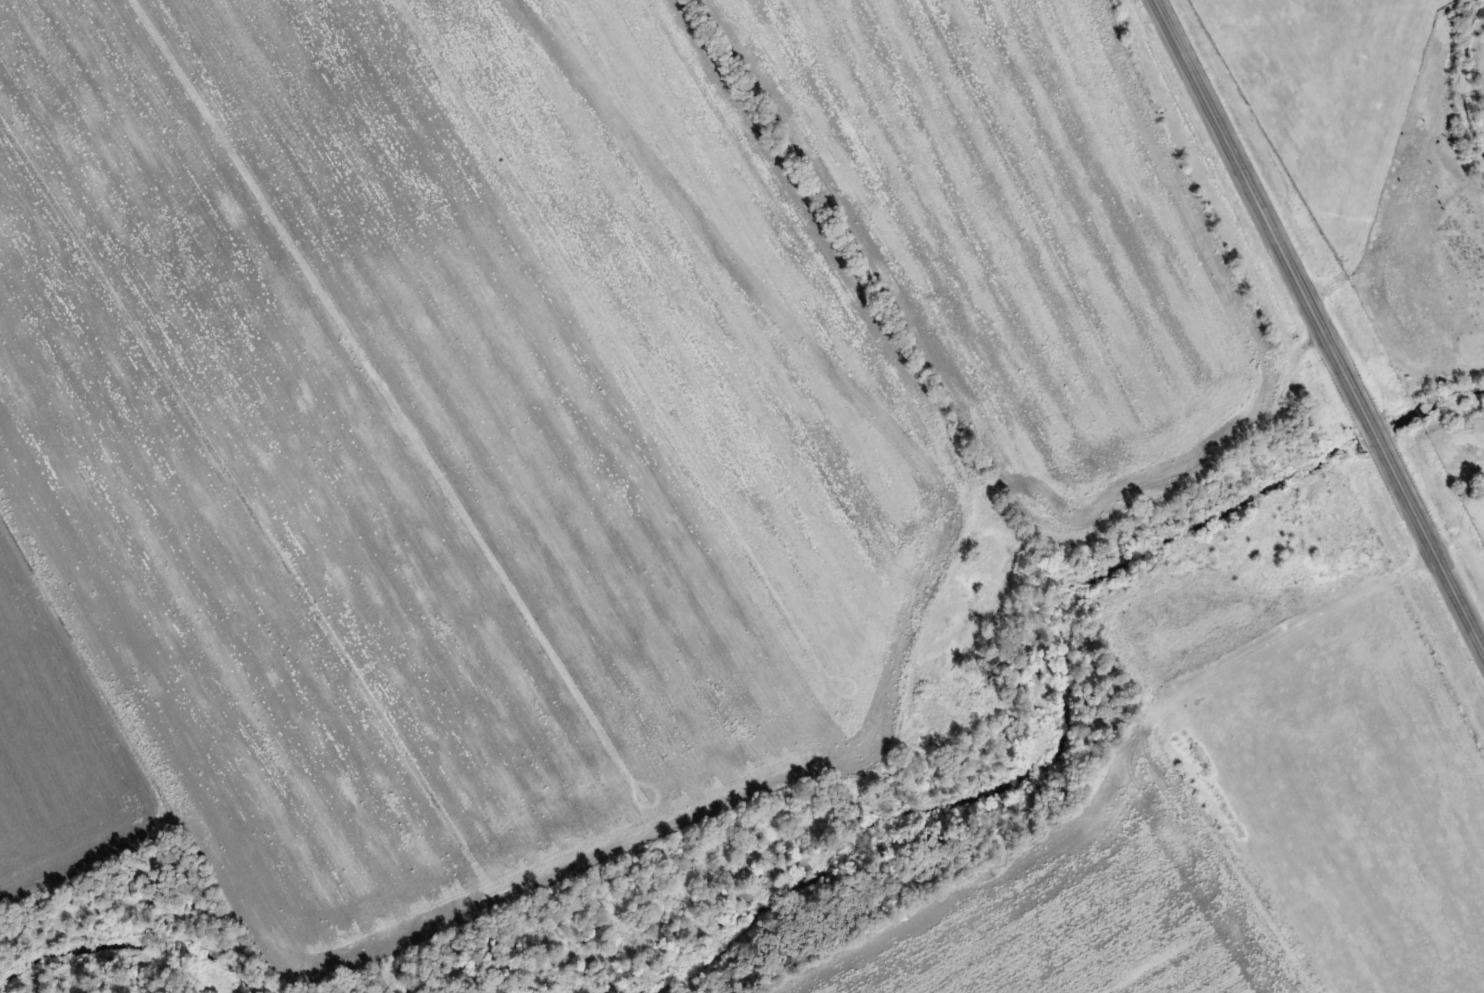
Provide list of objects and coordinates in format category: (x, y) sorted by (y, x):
road: (1319, 325)
building: (1466, 488)

